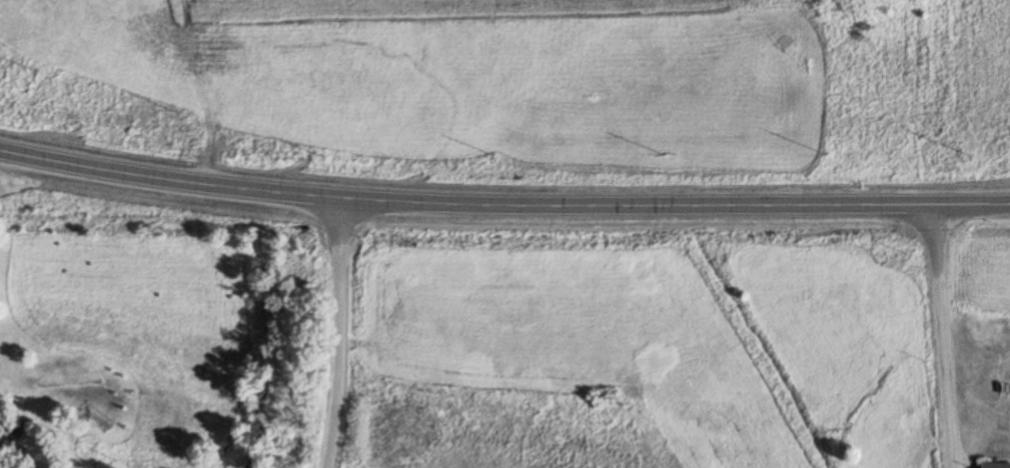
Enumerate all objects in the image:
road: (503, 202)
road: (341, 334)
road: (941, 335)
building: (19, 430)
building: (994, 465)

